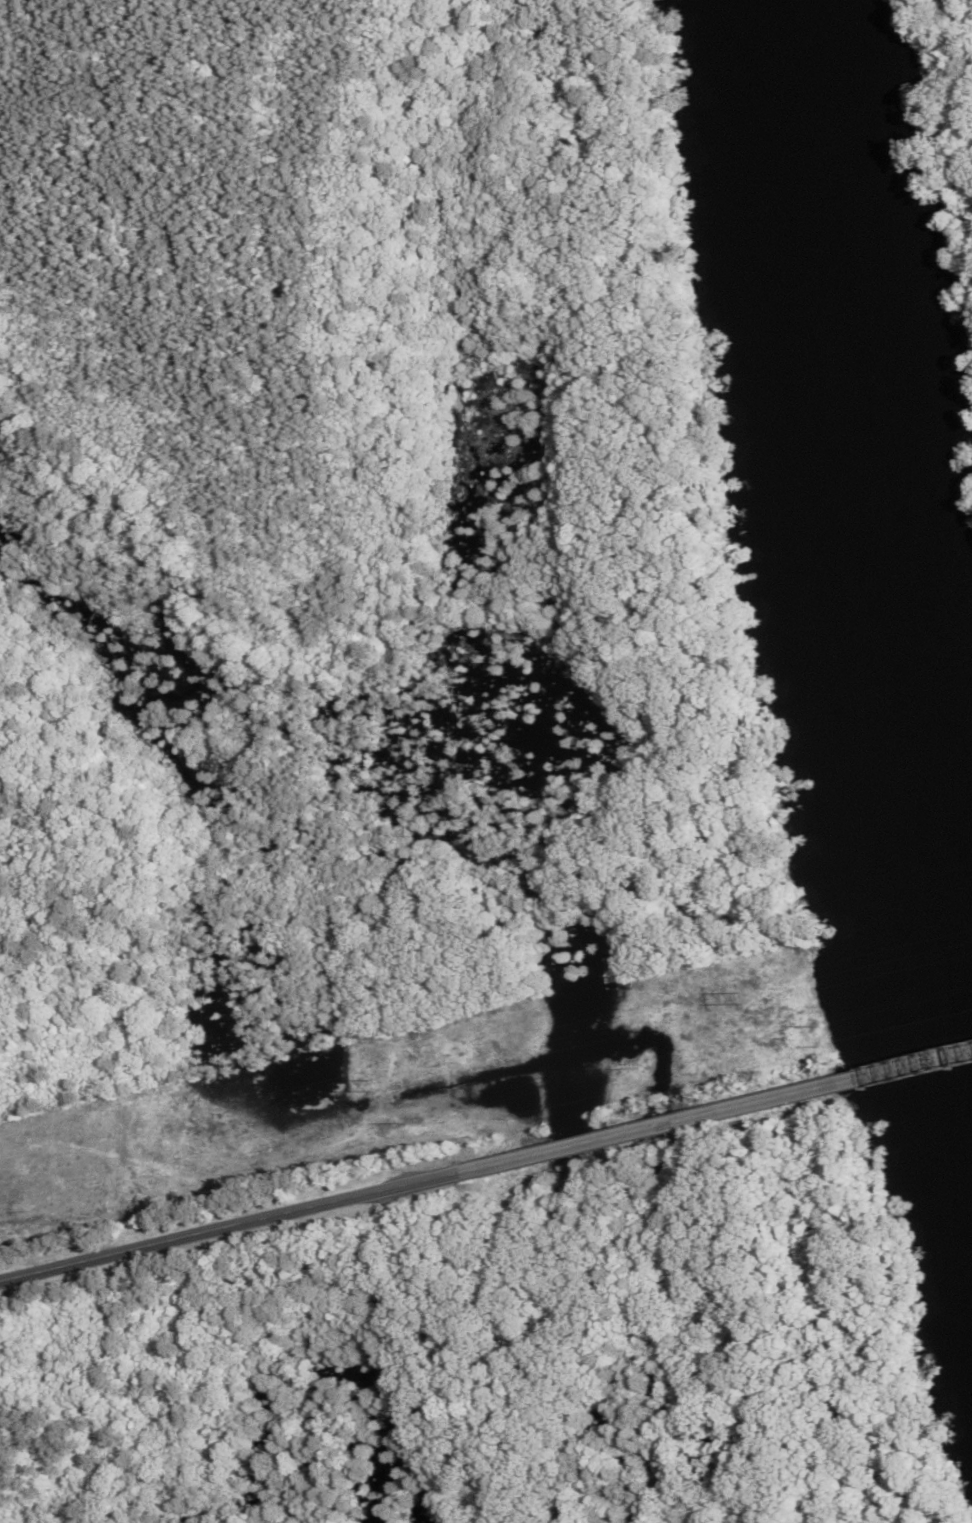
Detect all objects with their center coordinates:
river: (867, 521)
power tower: (743, 997)
power tower: (365, 1085)
road: (718, 1112)
road: (232, 1226)

